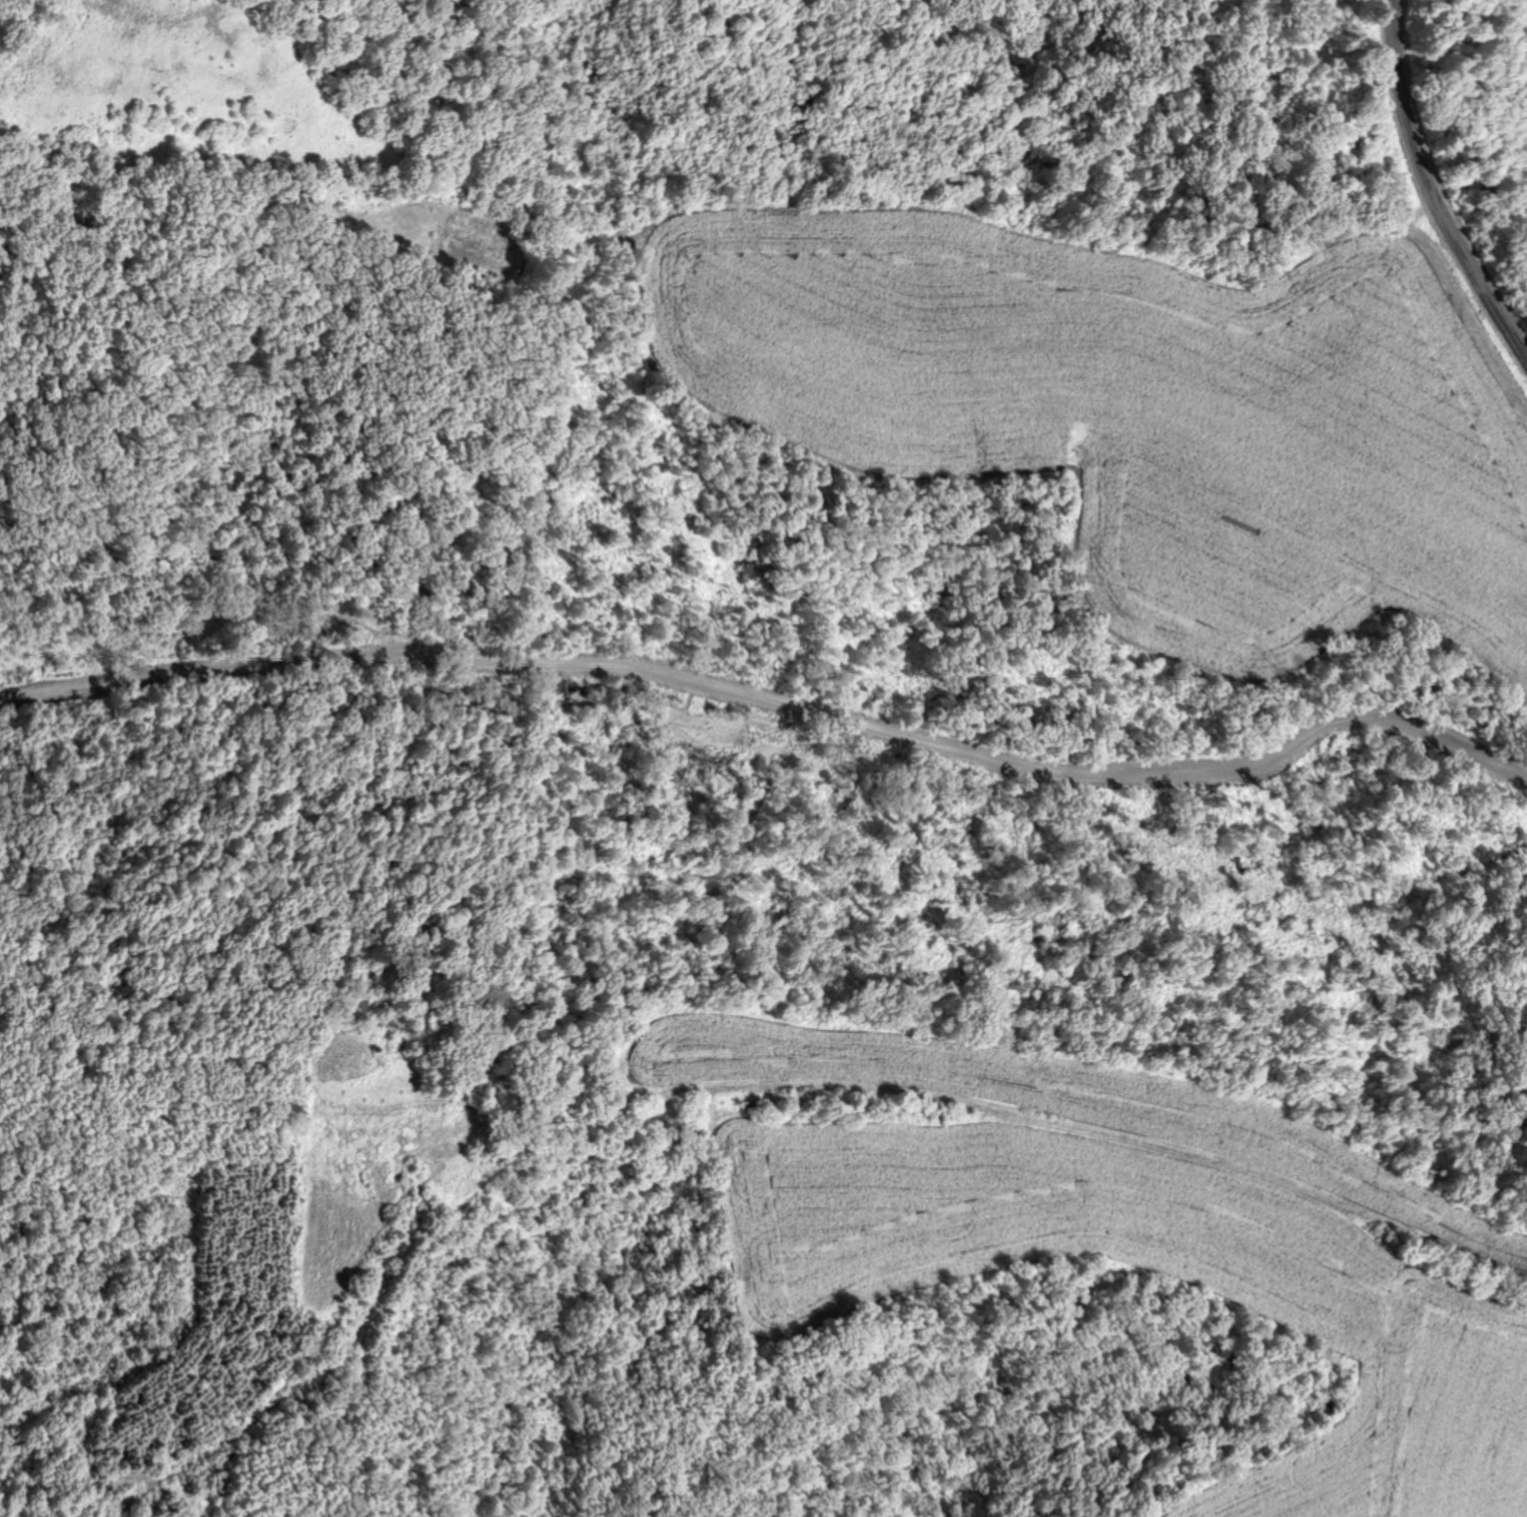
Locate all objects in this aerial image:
road: (1436, 186)
road: (778, 700)

